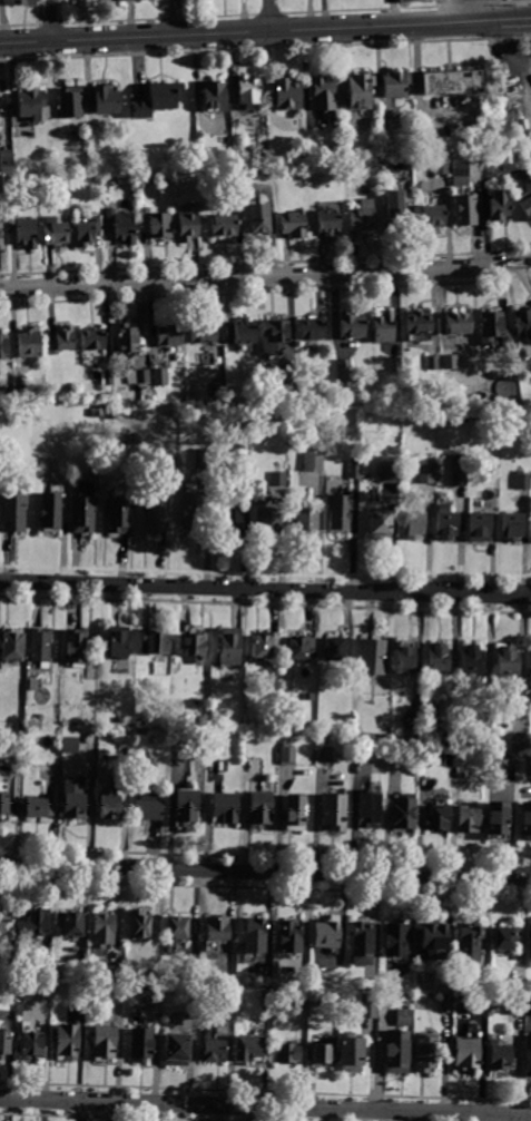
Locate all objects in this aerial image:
building: (83, 0)
building: (150, 0)
building: (0, 1)
building: (120, 1)
building: (524, 1)
building: (27, 3)
road: (454, 11)
road: (271, 16)
road: (515, 19)
road: (51, 20)
road: (249, 31)
road: (515, 56)
road: (529, 80)
building: (454, 83)
building: (399, 87)
building: (326, 95)
building: (362, 95)
building: (288, 96)
building: (252, 97)
building: (216, 98)
building: (160, 101)
building: (108, 102)
building: (72, 105)
building: (33, 106)
building: (7, 160)
building: (441, 165)
building: (410, 166)
building: (461, 173)
building: (524, 204)
building: (500, 205)
building: (396, 210)
building: (464, 210)
building: (362, 216)
building: (432, 216)
building: (257, 218)
building: (327, 220)
building: (156, 223)
building: (293, 223)
building: (224, 225)
building: (121, 226)
building: (187, 227)
building: (23, 230)
building: (55, 230)
building: (87, 232)
building: (0, 234)
road: (265, 276)
building: (419, 323)
building: (458, 323)
building: (523, 323)
building: (351, 326)
building: (383, 327)
building: (493, 327)
building: (312, 328)
building: (242, 331)
building: (203, 333)
building: (170, 335)
building: (273, 337)
building: (126, 338)
building: (91, 340)
building: (61, 341)
building: (29, 343)
building: (3, 347)
building: (432, 362)
building: (450, 362)
building: (395, 365)
building: (345, 372)
building: (142, 377)
building: (160, 377)
building: (108, 378)
building: (20, 383)
building: (286, 384)
building: (219, 390)
building: (97, 412)
building: (462, 417)
building: (11, 419)
building: (313, 460)
building: (355, 468)
building: (242, 470)
building: (426, 471)
building: (459, 471)
building: (391, 472)
building: (278, 479)
building: (491, 480)
building: (208, 481)
building: (523, 481)
building: (82, 509)
building: (49, 512)
building: (191, 512)
building: (340, 512)
building: (11, 513)
building: (157, 513)
building: (117, 517)
building: (232, 517)
building: (268, 517)
building: (304, 521)
building: (378, 524)
building: (413, 524)
building: (446, 525)
building: (479, 527)
building: (511, 527)
road: (265, 589)
building: (151, 642)
building: (116, 643)
building: (262, 645)
building: (11, 646)
building: (194, 646)
building: (40, 647)
building: (75, 647)
building: (228, 647)
building: (297, 648)
building: (335, 649)
building: (372, 657)
building: (404, 657)
building: (436, 659)
building: (472, 659)
building: (507, 662)
building: (39, 717)
building: (324, 739)
building: (385, 739)
building: (416, 740)
building: (465, 741)
building: (519, 743)
building: (70, 745)
building: (287, 754)
building: (325, 755)
building: (463, 760)
building: (507, 760)
building: (71, 799)
building: (6, 807)
building: (106, 807)
building: (185, 808)
building: (223, 808)
building: (36, 809)
building: (258, 809)
building: (148, 810)
building: (366, 810)
building: (332, 812)
building: (402, 813)
building: (293, 814)
building: (436, 820)
building: (466, 822)
building: (494, 823)
building: (524, 823)
road: (265, 872)
building: (68, 923)
building: (137, 923)
building: (7, 924)
building: (35, 925)
building: (175, 926)
building: (216, 926)
building: (101, 930)
building: (325, 932)
building: (254, 934)
building: (292, 936)
building: (504, 936)
building: (394, 940)
building: (431, 940)
building: (469, 941)
building: (362, 942)
building: (530, 944)
building: (47, 970)
building: (81, 972)
building: (115, 973)
building: (518, 987)
building: (304, 997)
building: (384, 997)
building: (265, 999)
building: (368, 1005)
building: (445, 1005)
building: (515, 1006)
building: (529, 1009)
building: (403, 1017)
building: (3, 1042)
building: (66, 1042)
building: (101, 1042)
building: (140, 1044)
building: (30, 1045)
building: (249, 1048)
building: (210, 1049)
building: (175, 1050)
building: (395, 1050)
building: (285, 1052)
building: (348, 1052)
building: (321, 1053)
building: (426, 1053)
building: (465, 1055)
building: (500, 1055)
building: (527, 1055)
road: (265, 1108)

